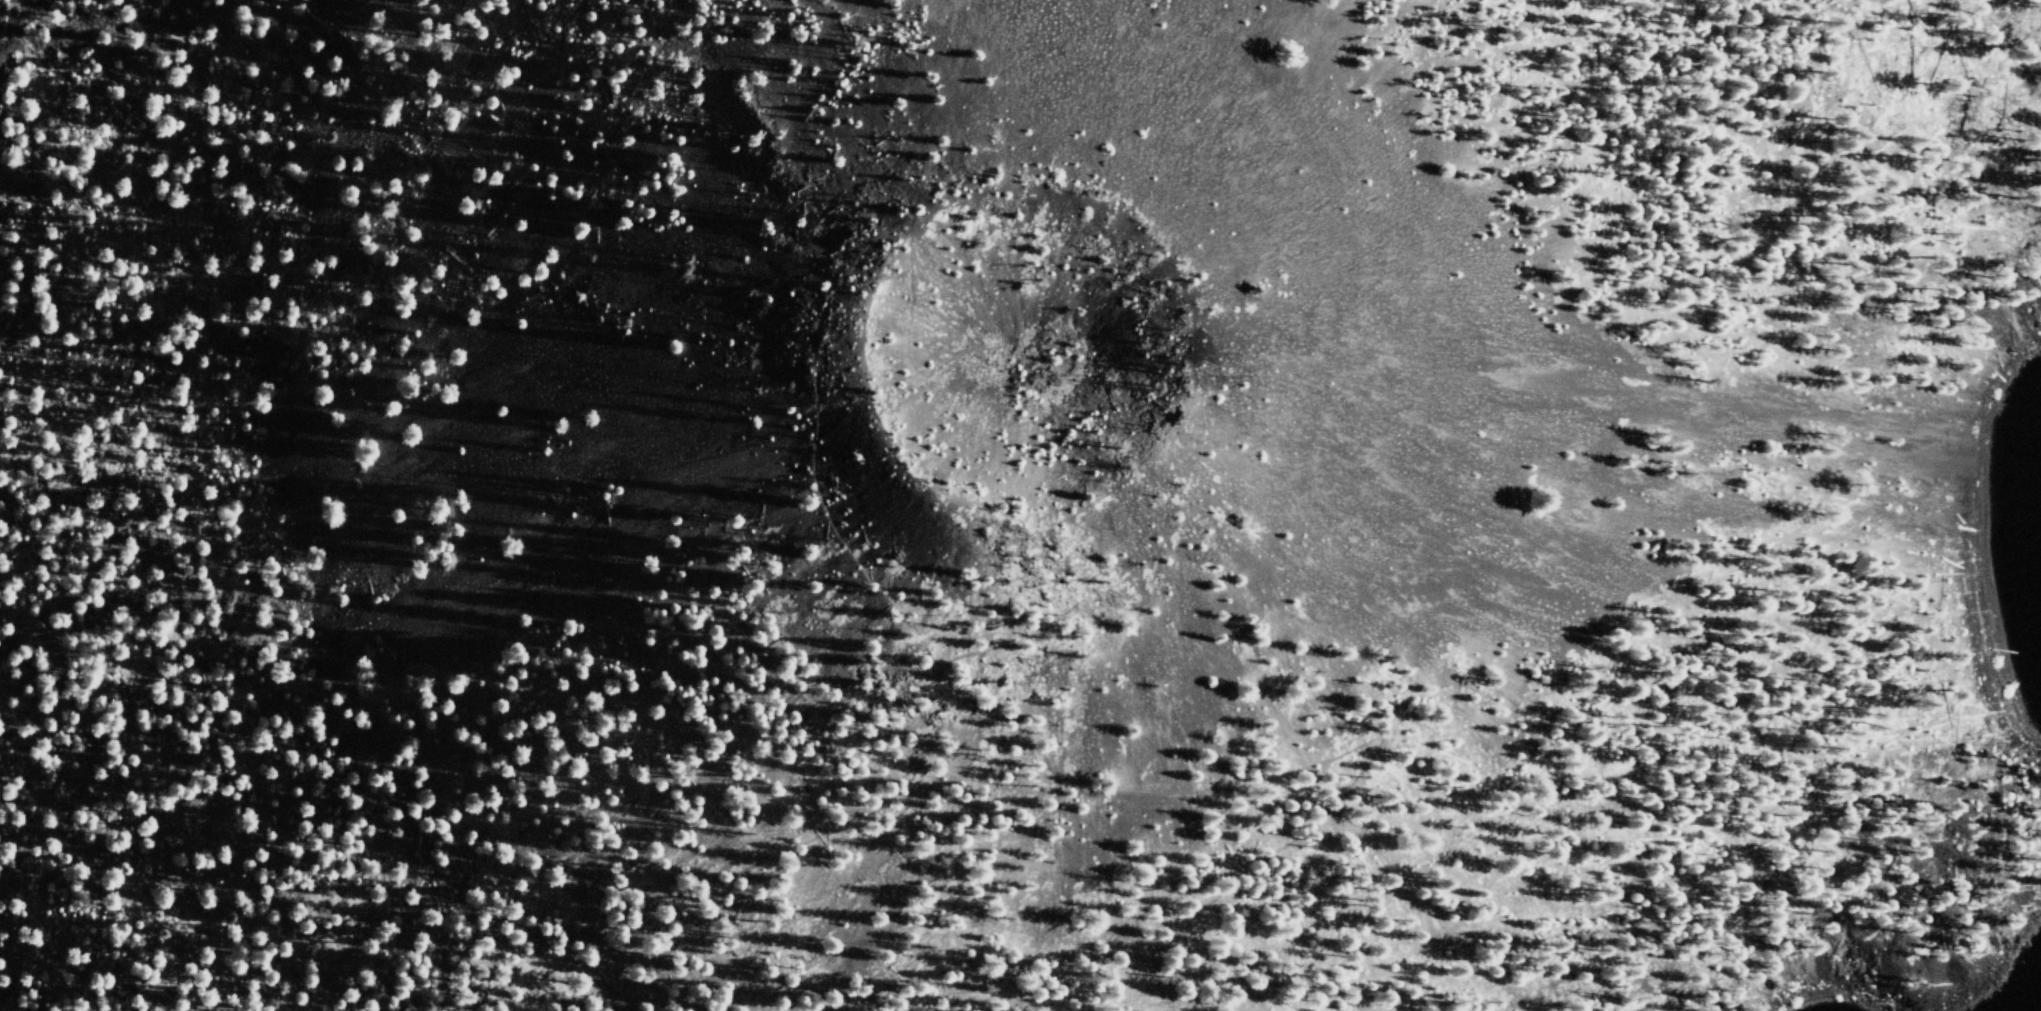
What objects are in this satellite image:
road: (1121, 473)
road: (1080, 788)
road: (12, 875)
road: (221, 1008)

